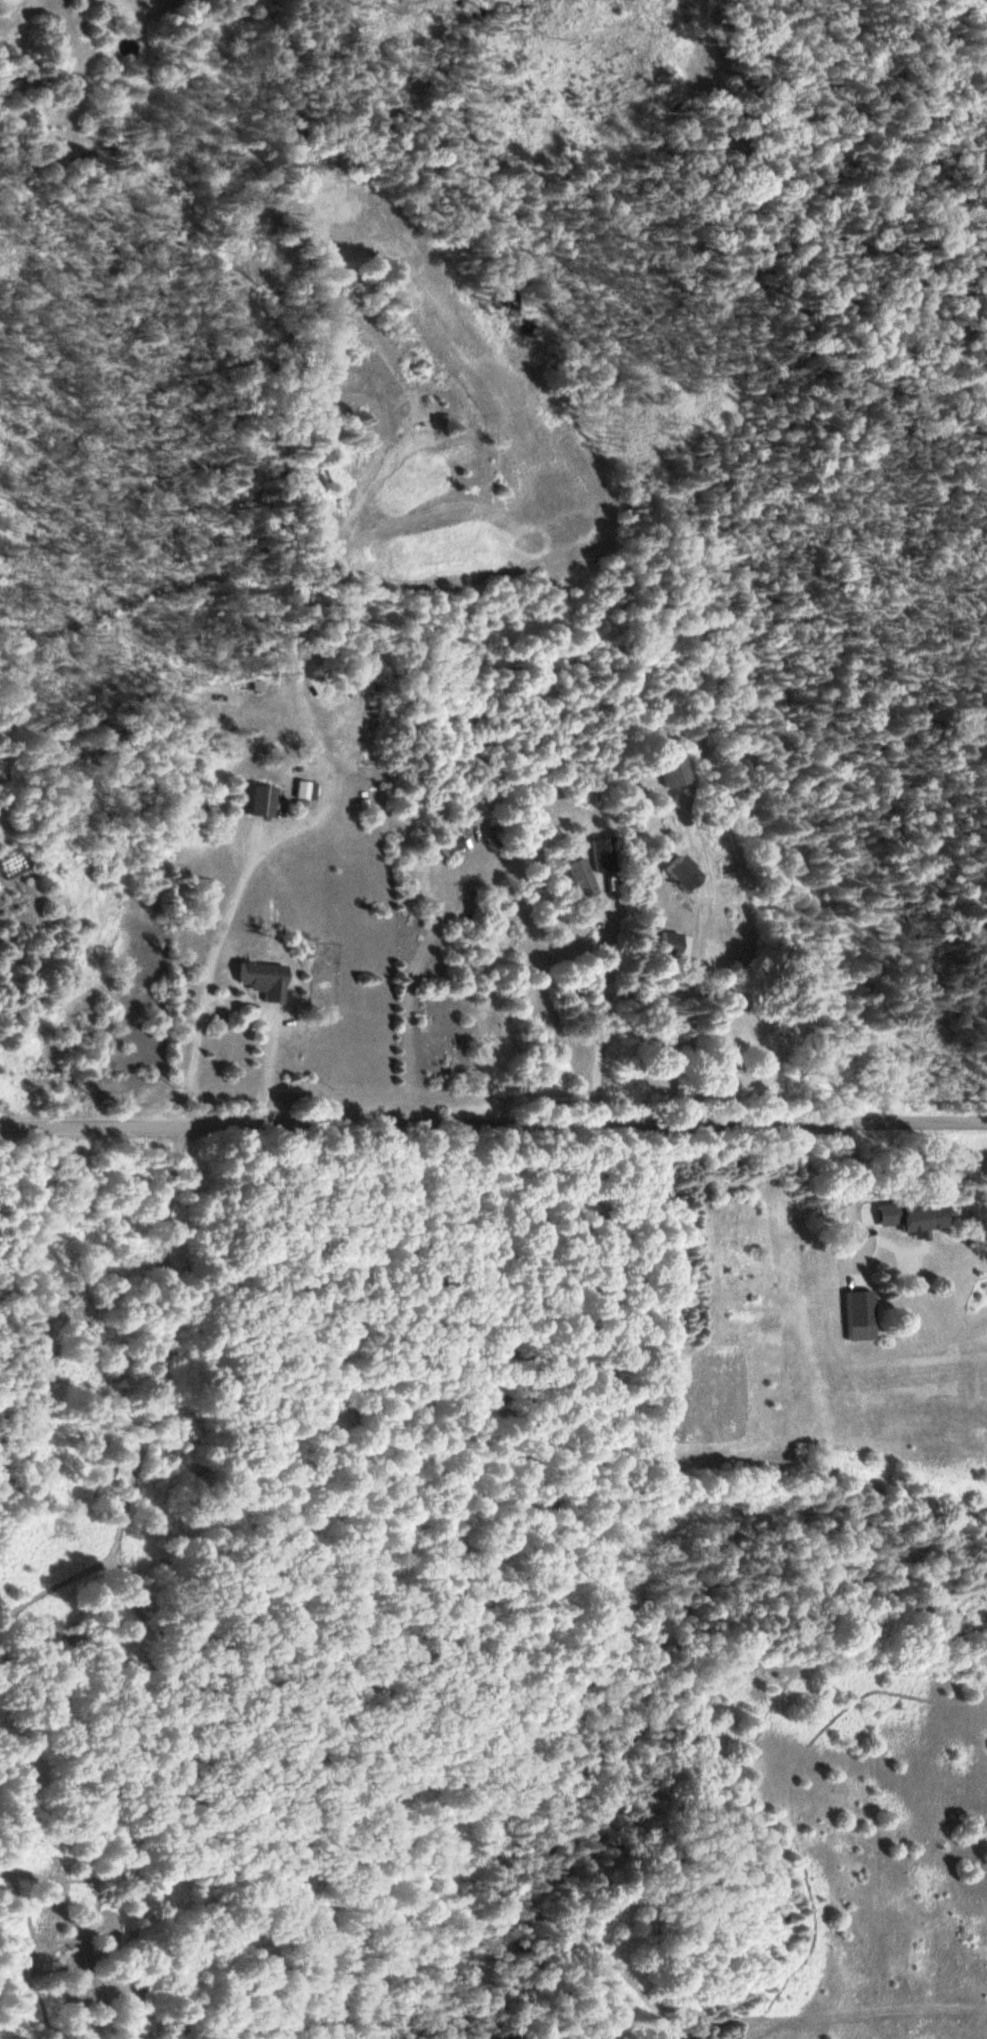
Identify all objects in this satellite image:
building: (666, 771)
building: (296, 791)
building: (254, 801)
building: (450, 846)
building: (594, 855)
building: (670, 874)
building: (571, 879)
building: (661, 946)
building: (256, 980)
road: (493, 1129)
building: (905, 1218)
building: (818, 1270)
building: (852, 1316)
building: (761, 1324)

